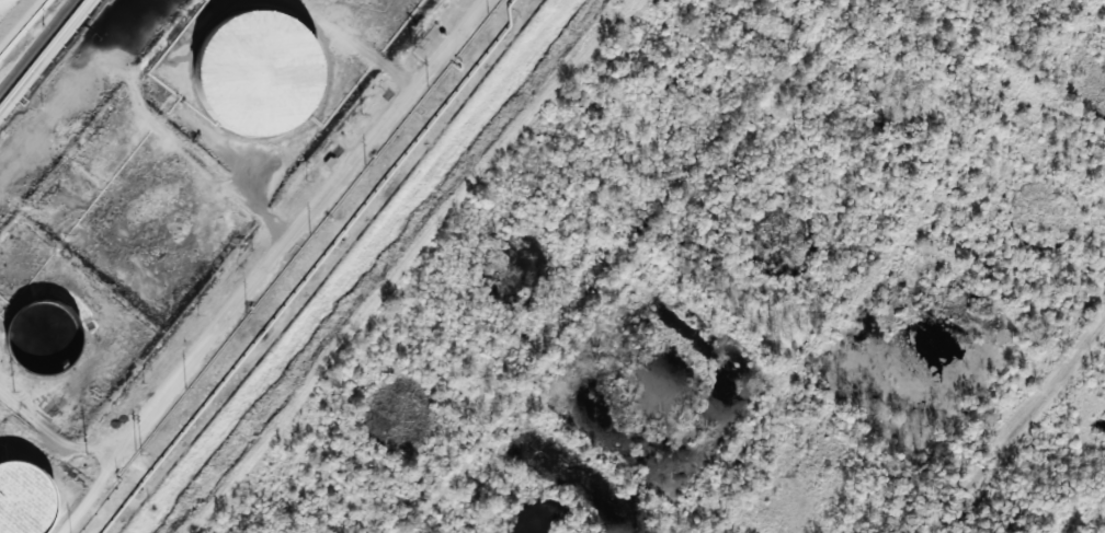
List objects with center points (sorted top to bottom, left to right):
road: (37, 46)
building: (260, 76)
storage tank: (260, 76)
road: (631, 264)
road: (272, 266)
road: (880, 266)
road: (398, 267)
building: (44, 344)
storage tank: (44, 344)
road: (1019, 428)
road: (235, 475)
building: (24, 500)
storage tank: (24, 500)

